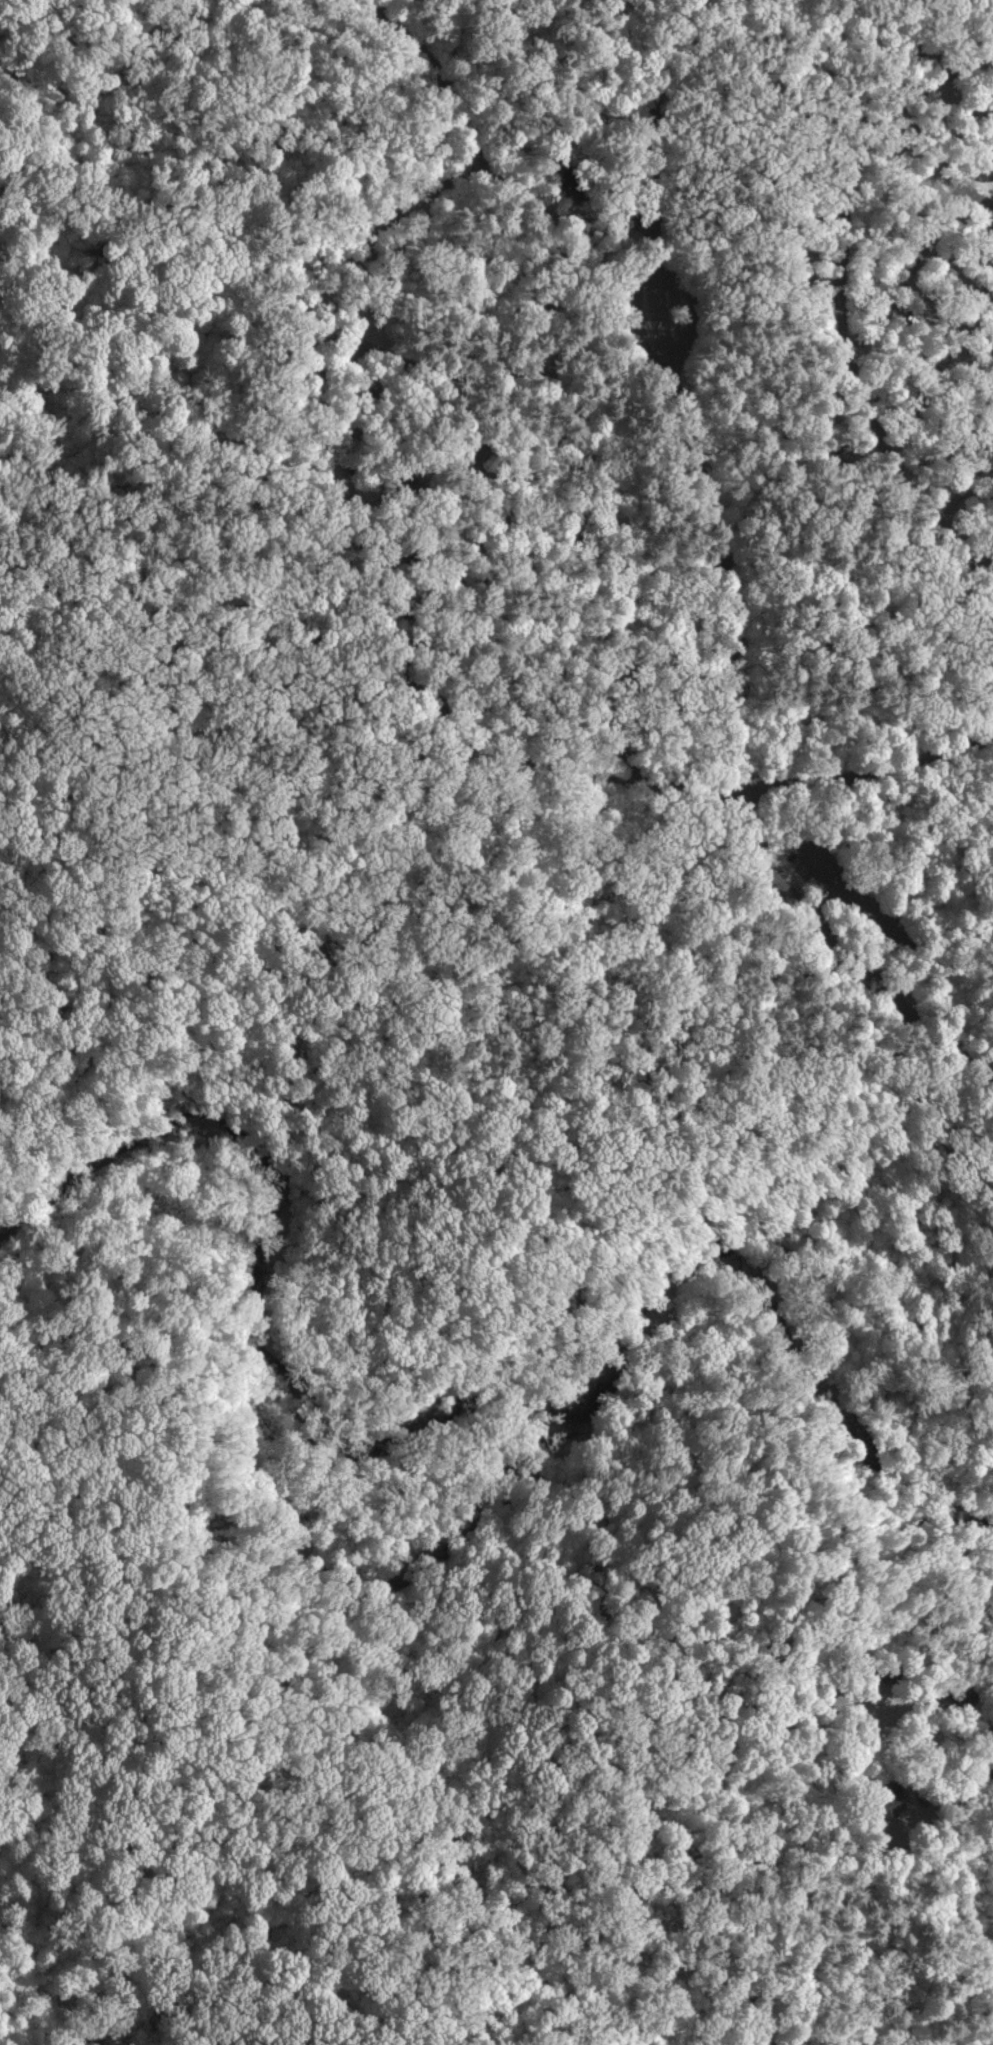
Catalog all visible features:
road: (807, 32)
road: (660, 46)
road: (976, 200)
road: (922, 250)
road: (843, 266)
road: (679, 308)
road: (694, 309)
road: (642, 317)
road: (626, 323)
road: (944, 367)
road: (674, 368)
road: (989, 458)
road: (162, 477)
road: (967, 483)
building: (403, 485)
road: (574, 487)
road: (510, 563)
road: (376, 569)
road: (418, 719)
road: (871, 766)
parking lot: (854, 891)
road: (870, 911)
road: (828, 928)
building: (811, 933)
road: (809, 947)
road: (938, 1038)
road: (479, 1184)
road: (487, 1402)
road: (143, 1587)
road: (599, 1628)
building: (770, 1654)
building: (882, 1671)
building: (959, 1693)
road: (834, 1704)
building: (757, 1721)
road: (889, 1739)
road: (990, 1768)
building: (922, 1797)
road: (341, 1799)
building: (884, 1802)
road: (308, 1849)
building: (865, 1852)
building: (758, 2018)
road: (55, 2035)

